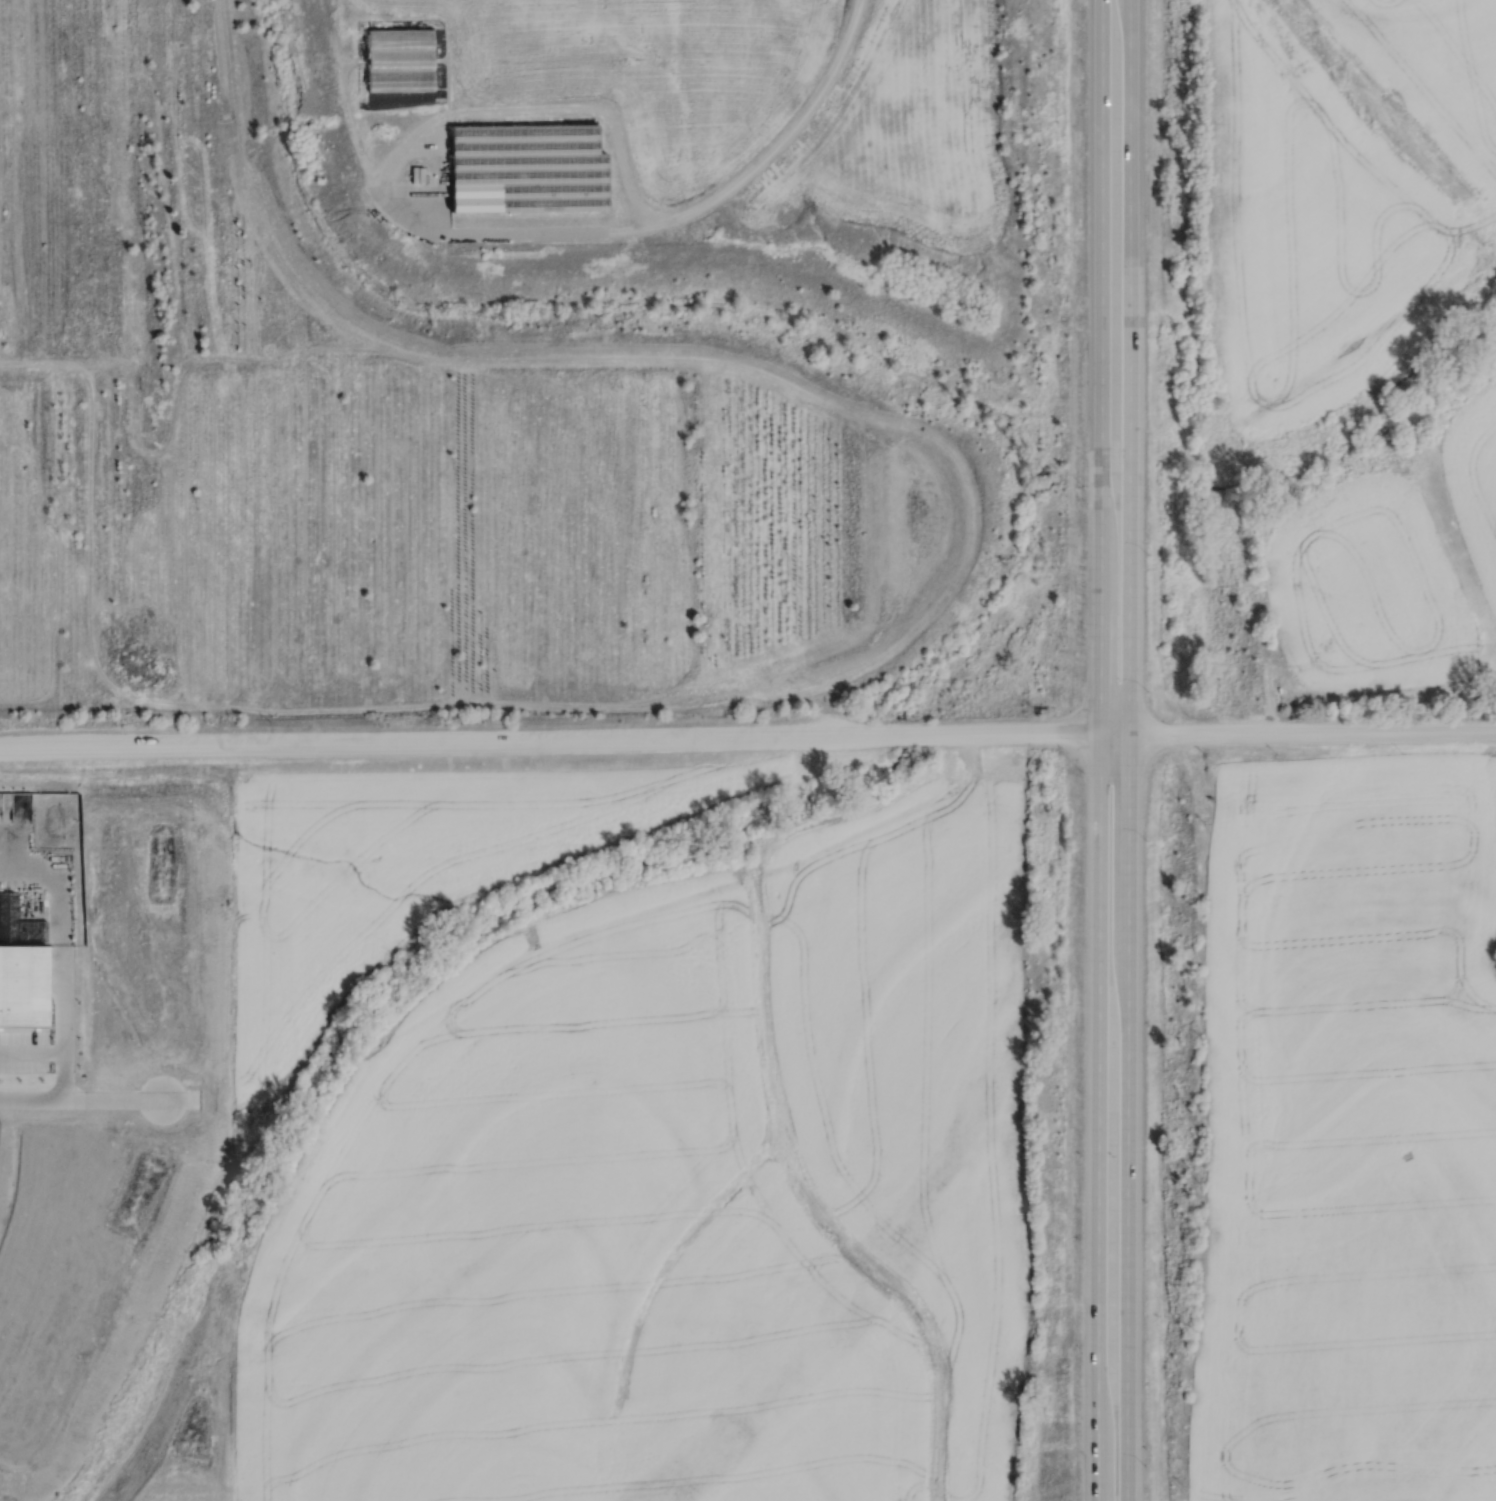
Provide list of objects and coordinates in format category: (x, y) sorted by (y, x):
building: (399, 57)
road: (780, 138)
road: (406, 140)
building: (527, 166)
road: (1297, 732)
road: (550, 739)
road: (1099, 750)
road: (1128, 750)
road: (83, 1096)

